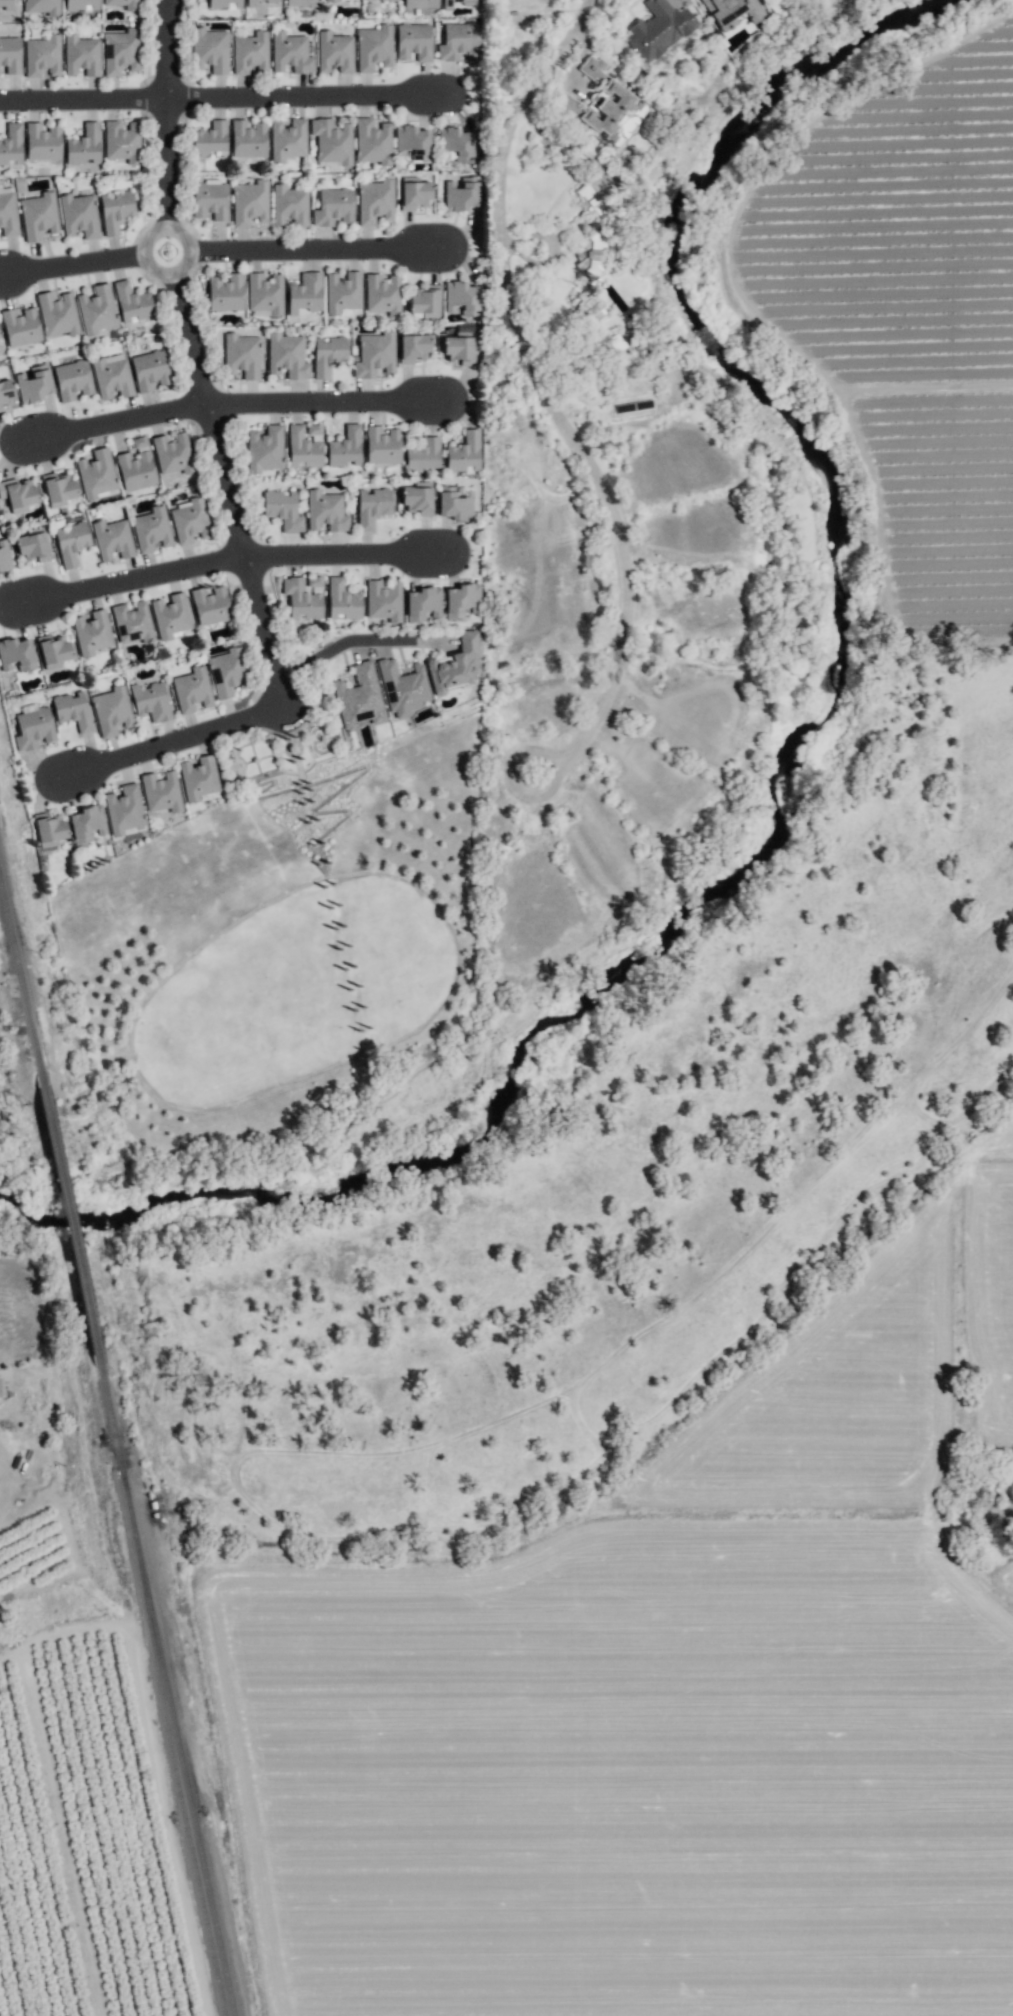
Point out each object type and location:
building: (331, 0)
building: (391, 0)
building: (273, 1)
building: (250, 3)
building: (302, 3)
building: (225, 4)
building: (421, 4)
building: (447, 4)
building: (7, 5)
building: (80, 5)
building: (43, 6)
building: (132, 6)
building: (731, 12)
building: (657, 29)
building: (415, 42)
building: (459, 42)
building: (375, 47)
building: (210, 51)
building: (334, 51)
building: (119, 52)
building: (291, 52)
building: (11, 53)
building: (251, 53)
building: (42, 55)
building: (81, 55)
road: (225, 99)
building: (607, 103)
building: (211, 138)
building: (248, 139)
building: (288, 139)
building: (331, 140)
building: (42, 141)
building: (122, 141)
building: (373, 142)
building: (412, 142)
building: (11, 144)
building: (454, 145)
building: (83, 146)
building: (414, 193)
building: (461, 194)
building: (592, 199)
building: (211, 200)
building: (375, 200)
building: (250, 202)
building: (289, 205)
building: (334, 207)
building: (115, 210)
building: (8, 214)
building: (38, 215)
building: (79, 216)
road: (225, 250)
building: (596, 254)
building: (343, 292)
building: (225, 293)
building: (265, 293)
building: (305, 293)
building: (383, 293)
building: (462, 298)
building: (132, 302)
building: (425, 302)
building: (590, 309)
building: (97, 310)
building: (57, 314)
building: (20, 327)
building: (413, 346)
building: (461, 347)
building: (329, 354)
building: (242, 355)
building: (288, 355)
building: (375, 355)
road: (190, 357)
building: (150, 370)
building: (112, 377)
building: (73, 379)
building: (34, 384)
building: (6, 392)
road: (544, 395)
road: (232, 404)
building: (0, 408)
building: (382, 445)
building: (303, 447)
building: (346, 447)
building: (265, 449)
building: (174, 453)
building: (464, 453)
building: (424, 455)
building: (136, 470)
building: (96, 473)
building: (58, 487)
building: (19, 492)
building: (419, 498)
building: (455, 503)
building: (372, 507)
building: (283, 509)
building: (327, 510)
building: (190, 521)
building: (151, 529)
building: (112, 539)
building: (70, 541)
building: (33, 544)
building: (4, 555)
road: (227, 560)
building: (302, 600)
building: (343, 600)
building: (384, 600)
building: (463, 600)
building: (423, 603)
building: (211, 605)
building: (170, 615)
building: (133, 622)
building: (92, 633)
road: (341, 648)
building: (53, 650)
building: (16, 654)
building: (455, 665)
building: (226, 673)
building: (405, 686)
building: (193, 689)
building: (361, 696)
building: (150, 701)
building: (72, 710)
building: (111, 711)
building: (33, 728)
road: (163, 744)
building: (200, 778)
building: (161, 792)
building: (125, 810)
building: (88, 823)
building: (49, 829)
railway: (21, 986)
railway: (71, 1228)
building: (0, 1389)
railway: (110, 1419)
railway: (178, 1743)
railway: (169, 1744)

